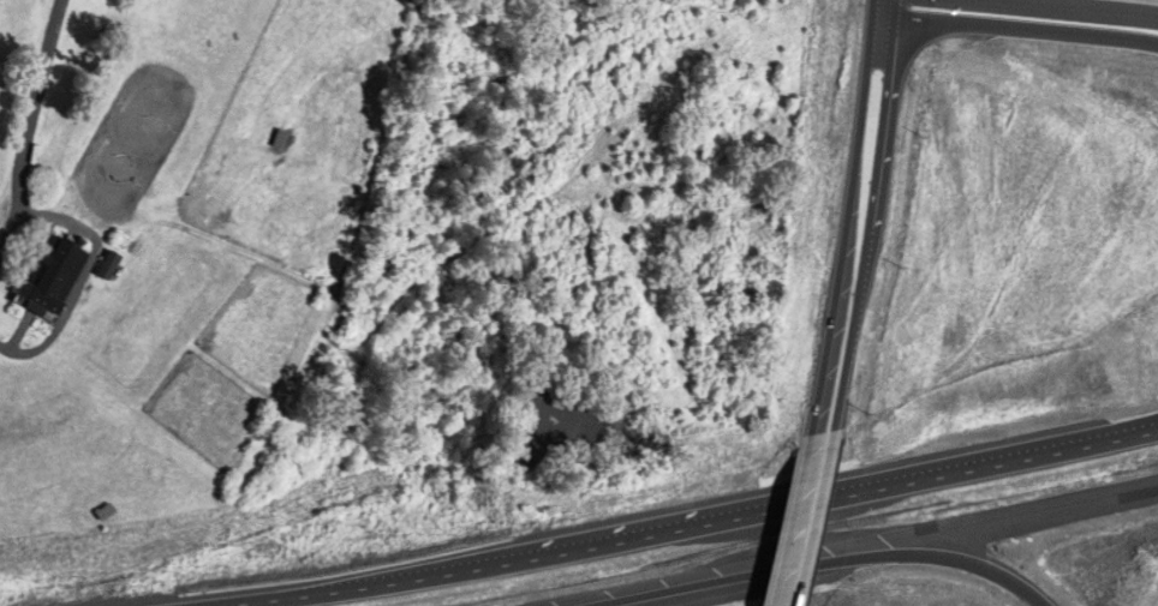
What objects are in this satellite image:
road: (875, 5)
road: (897, 13)
road: (1014, 28)
road: (29, 107)
building: (280, 139)
building: (691, 156)
road: (846, 224)
road: (873, 232)
building: (111, 265)
building: (52, 276)
road: (1064, 449)
building: (106, 514)
road: (788, 521)
road: (816, 521)
building: (640, 530)
road: (601, 547)
road: (966, 559)
road: (722, 576)

